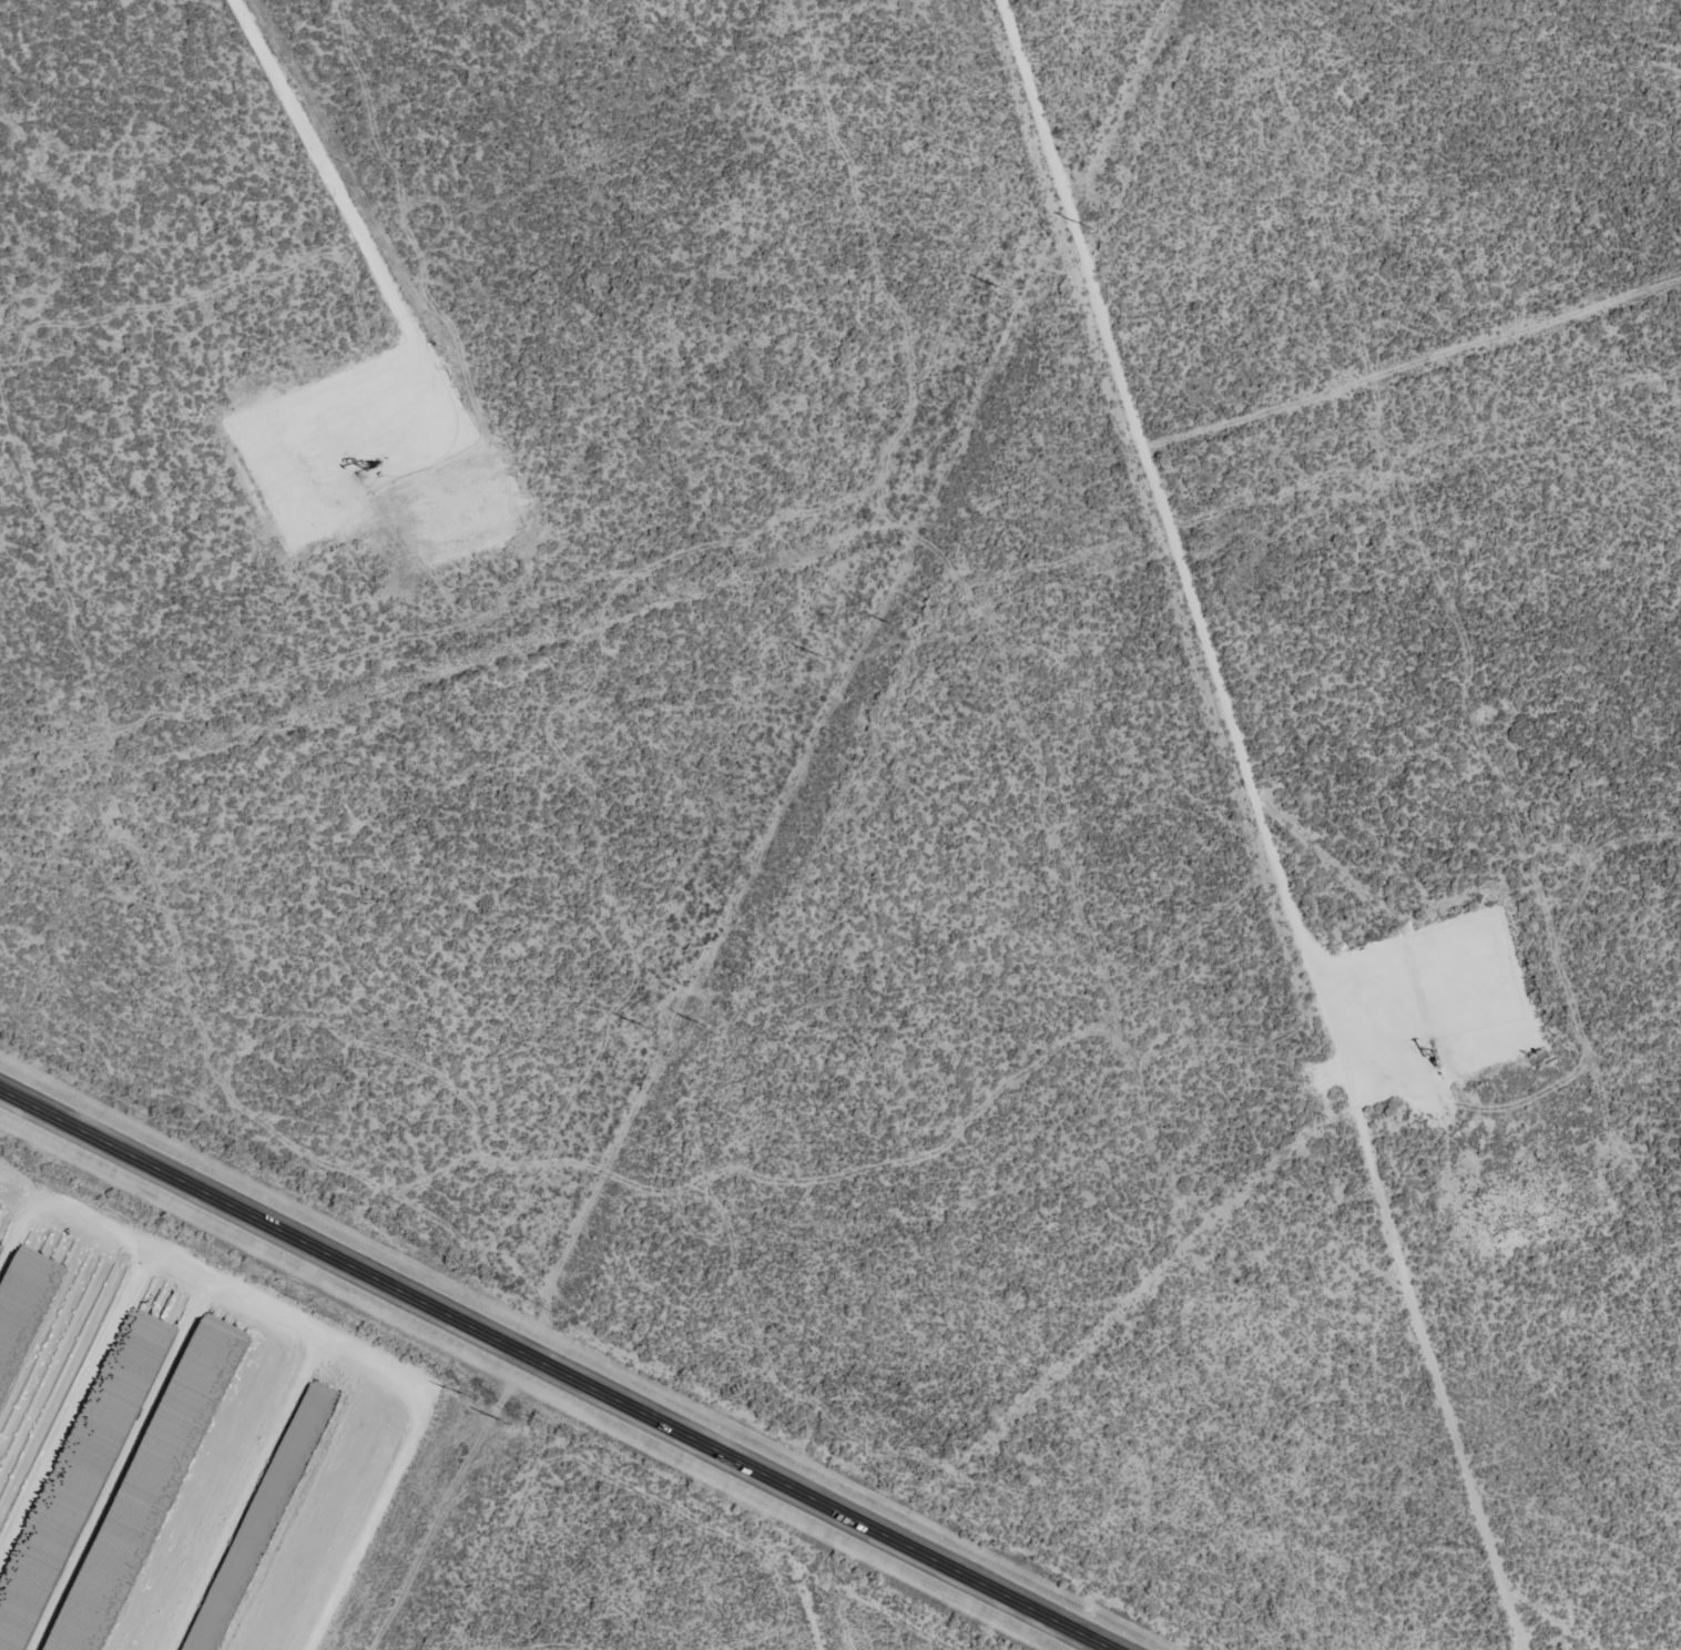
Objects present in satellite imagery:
power tower: (1090, 227)
power tower: (1003, 288)
power tower: (896, 627)
power tower: (825, 659)
road: (1285, 869)
power tower: (703, 1025)
power tower: (645, 1028)
road: (550, 1368)
power tower: (466, 1396)
power tower: (508, 1423)
road: (853, 1583)

